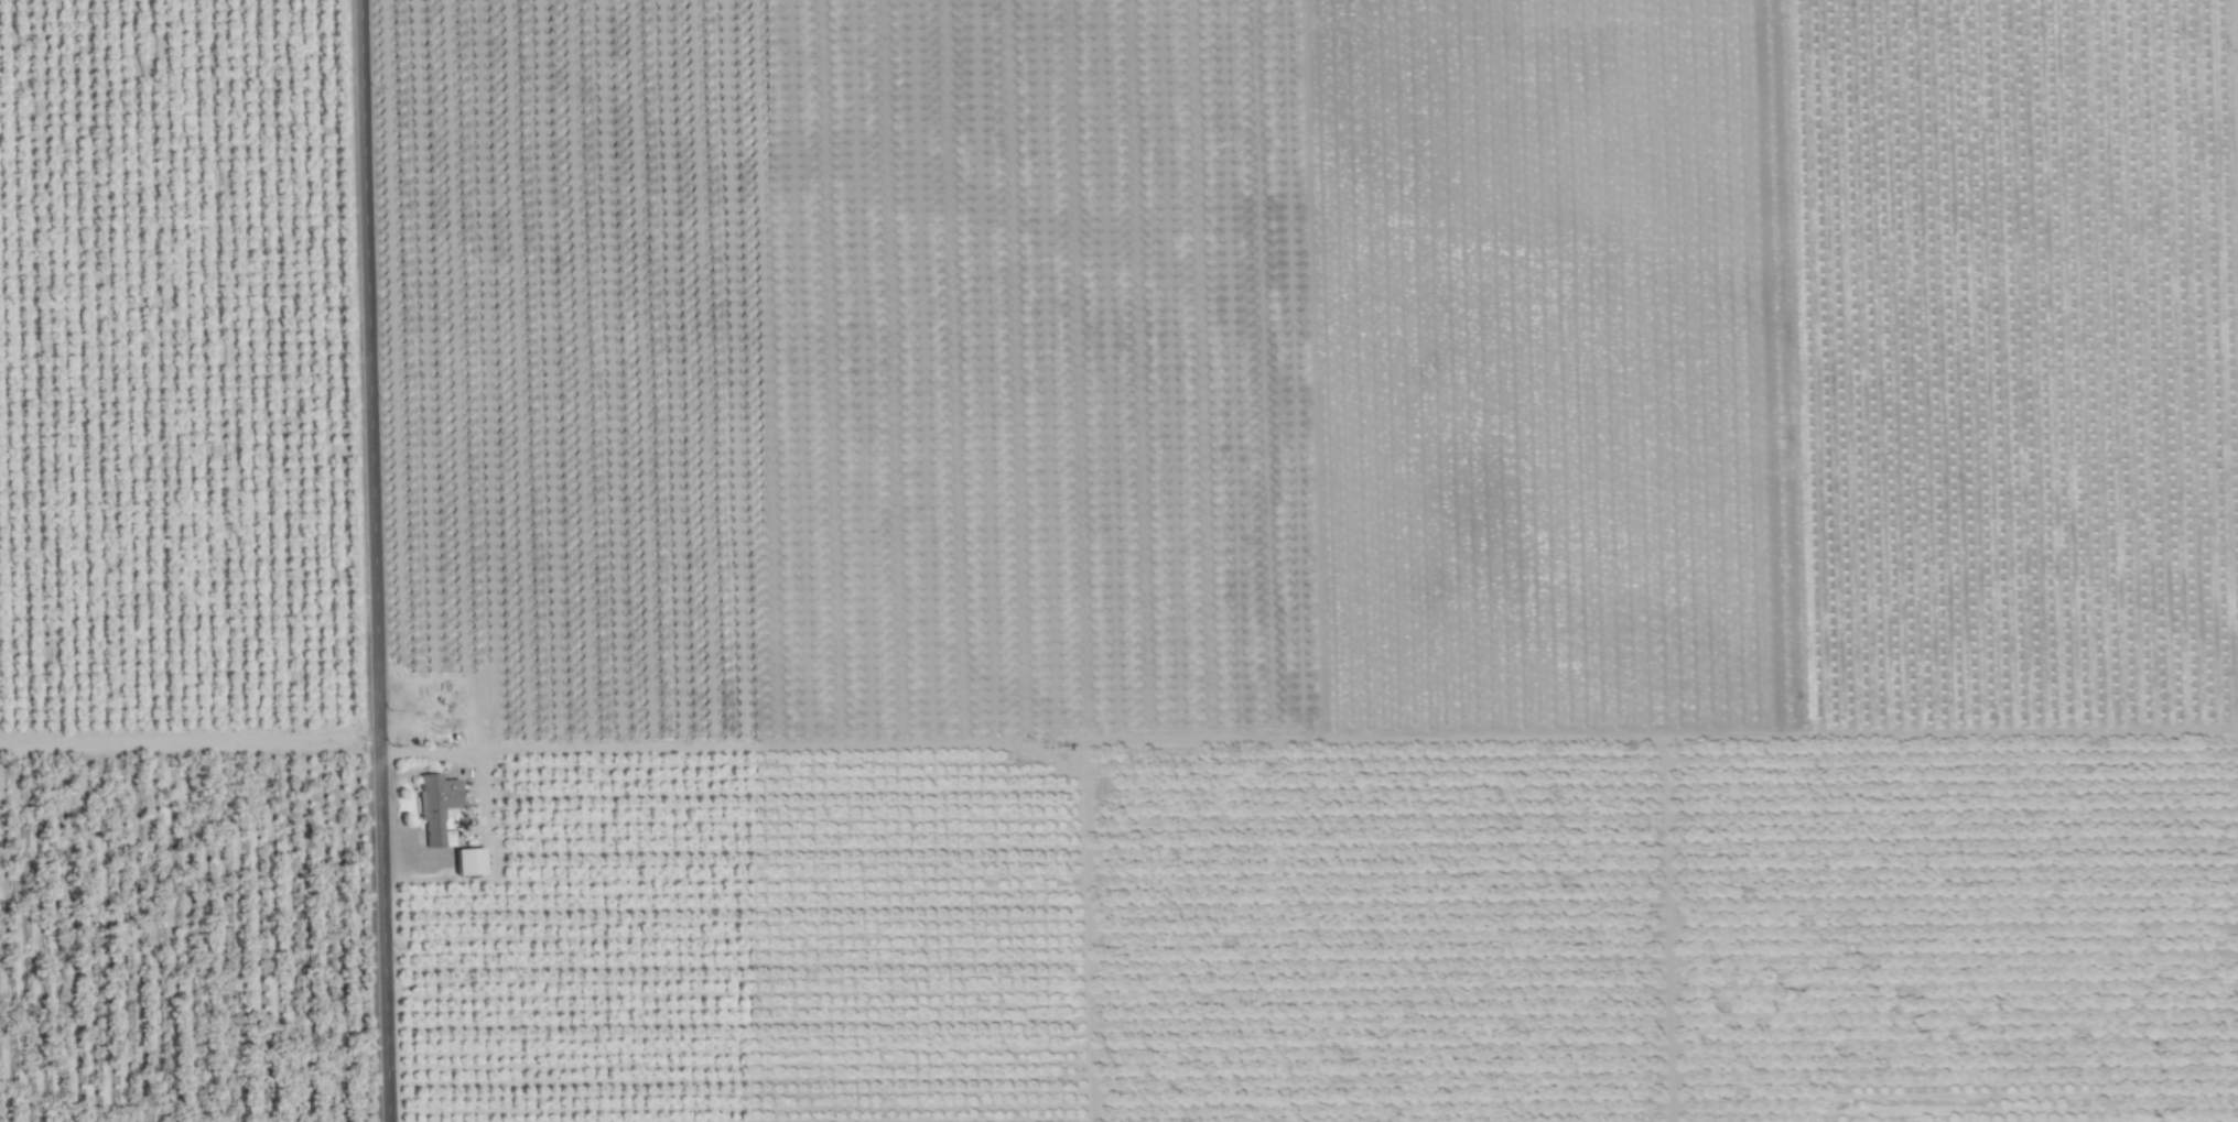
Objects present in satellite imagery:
road: (378, 560)
building: (430, 709)
road: (192, 738)
building: (434, 809)
building: (466, 865)

